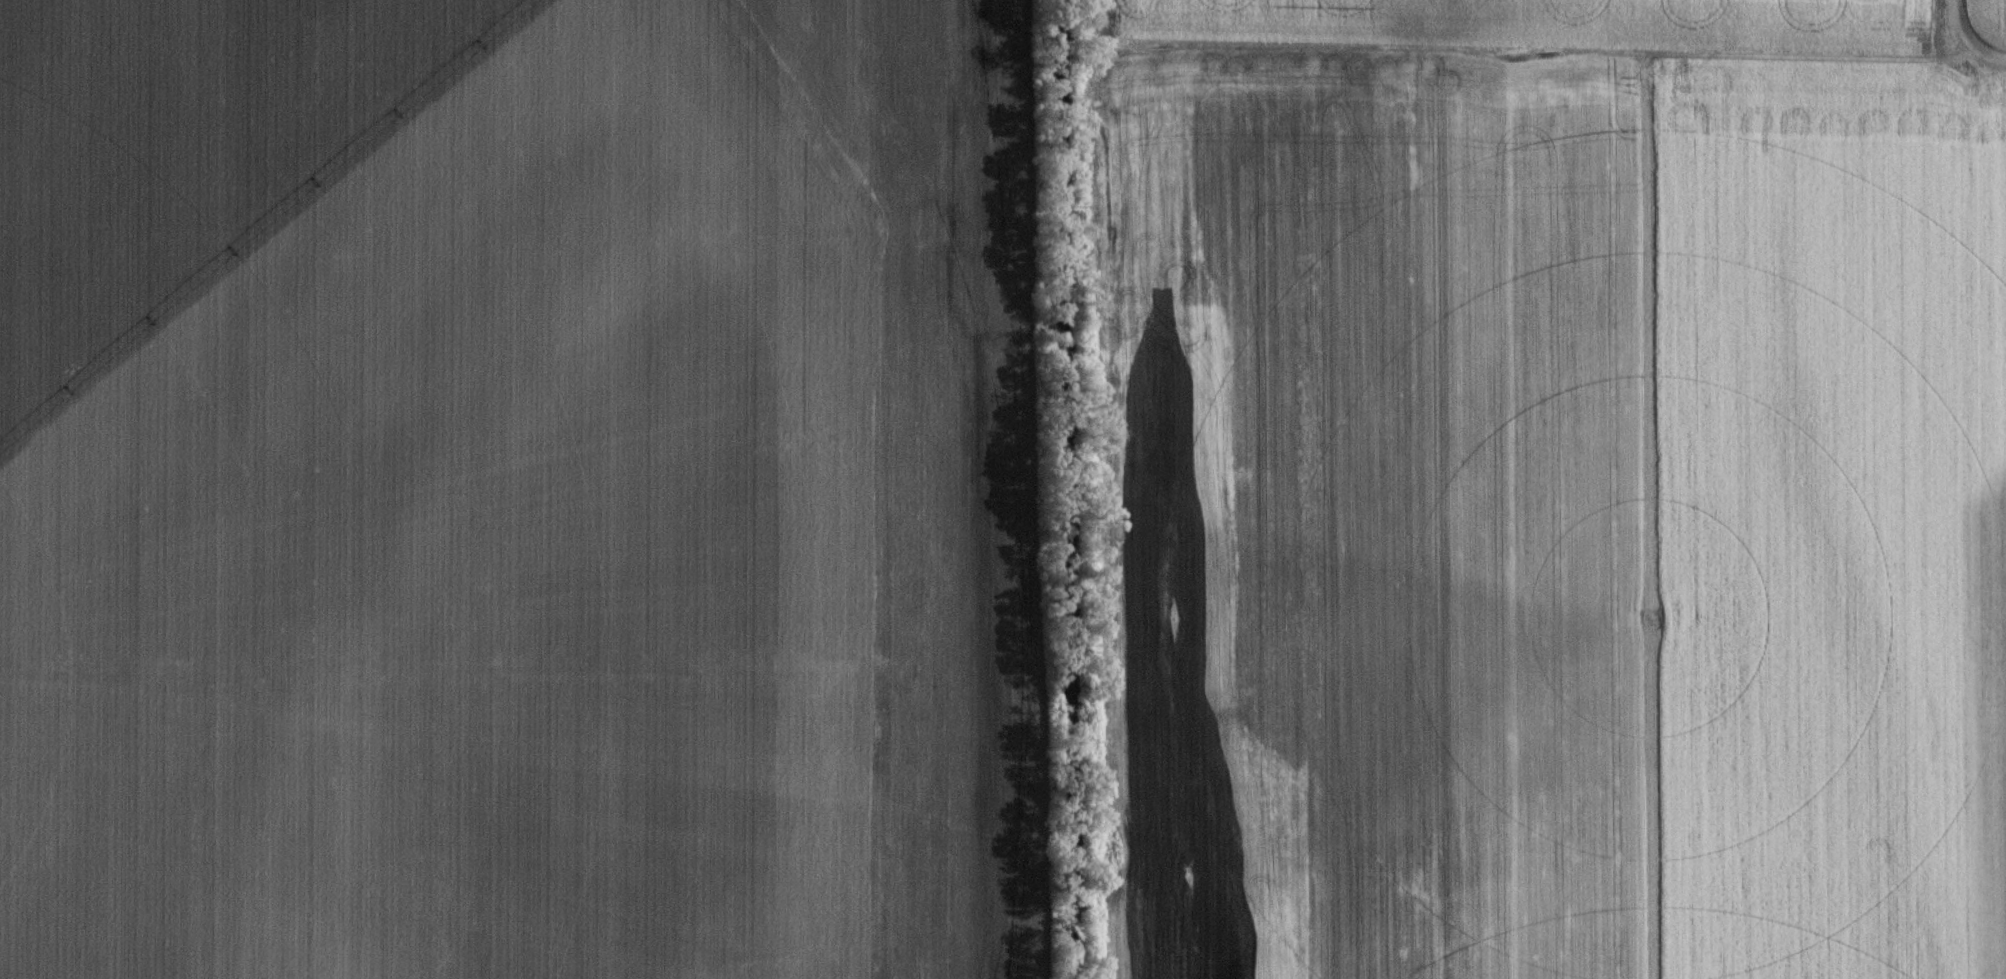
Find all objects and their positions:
road: (1965, 45)

